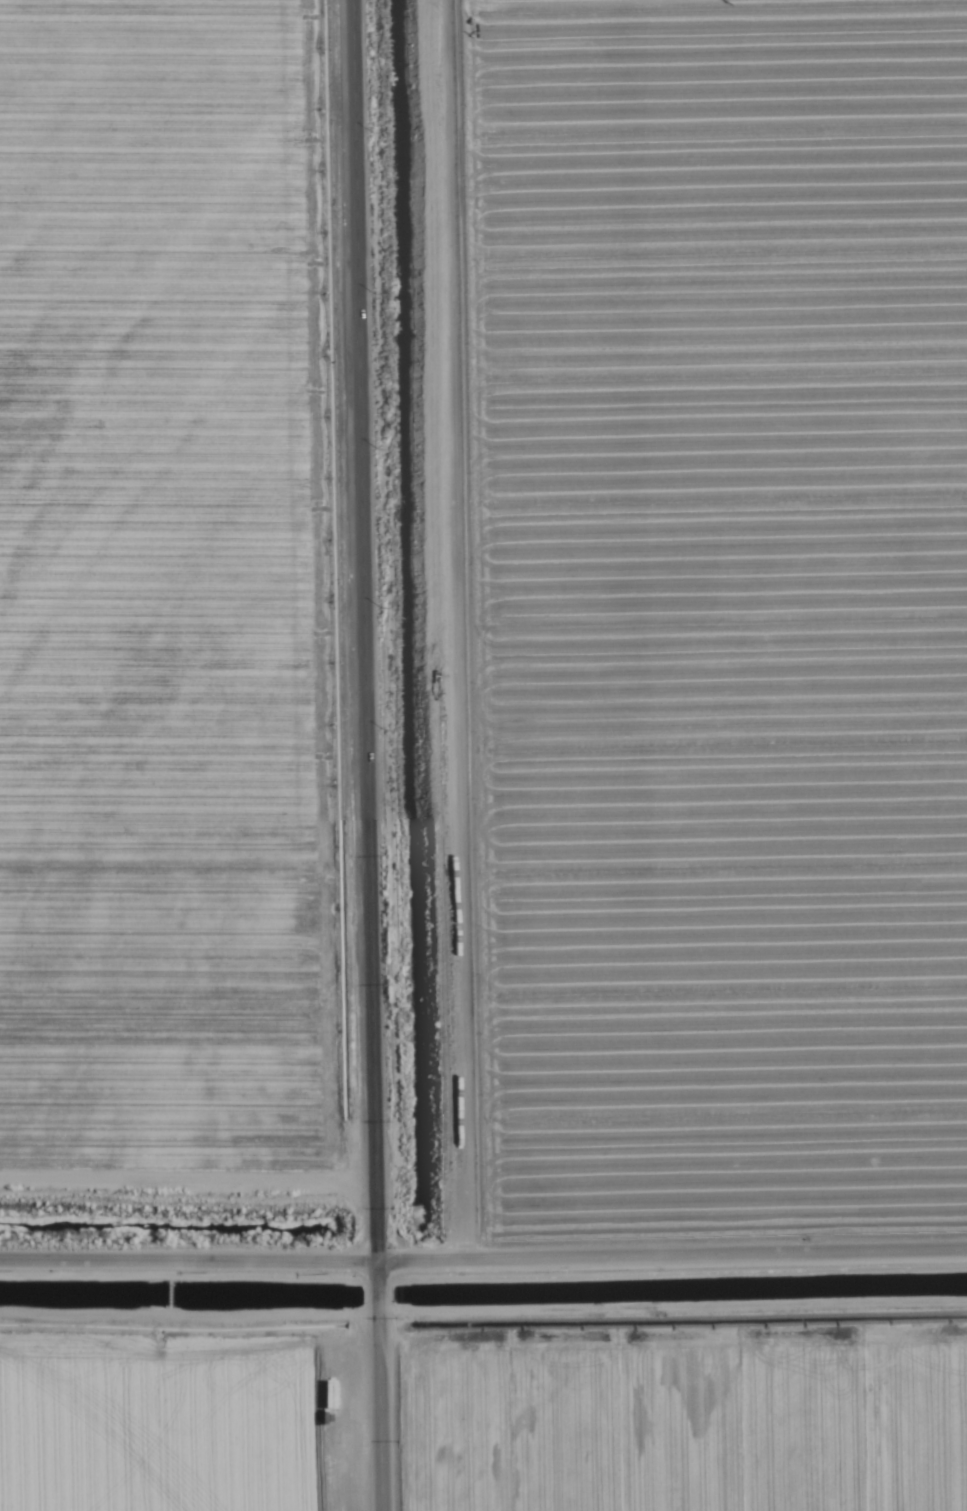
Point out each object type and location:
road: (363, 580)
road: (373, 1222)
road: (483, 1259)
road: (376, 1297)
road: (377, 1411)

